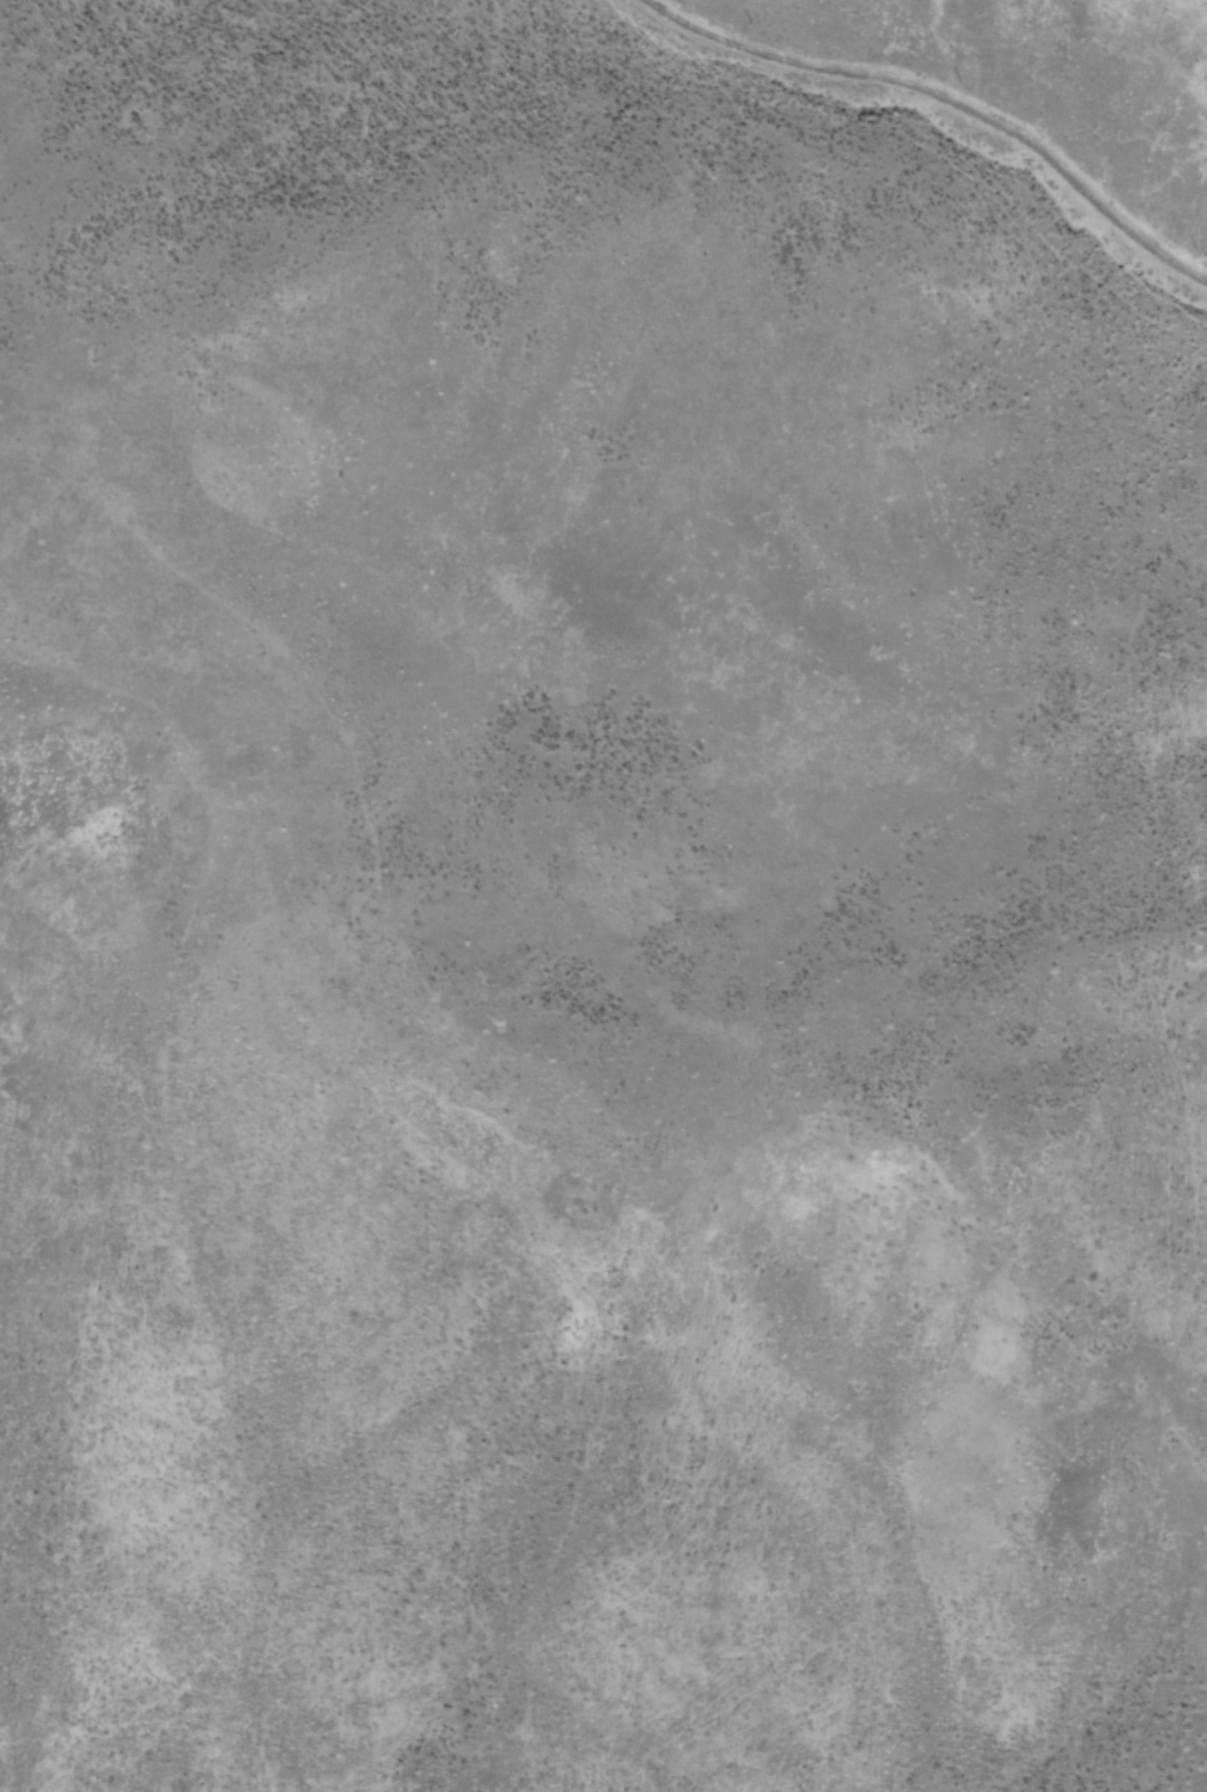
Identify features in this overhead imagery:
road: (950, 97)

